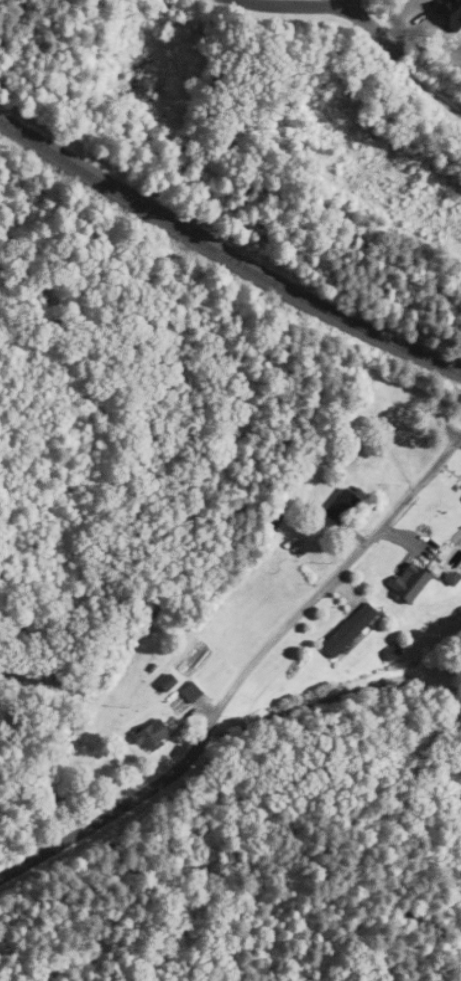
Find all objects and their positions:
road: (347, 1)
road: (293, 4)
road: (372, 26)
railway: (225, 259)
building: (342, 506)
building: (411, 581)
building: (350, 630)
road: (242, 674)
building: (169, 684)
building: (192, 693)
road: (334, 698)
building: (153, 737)

